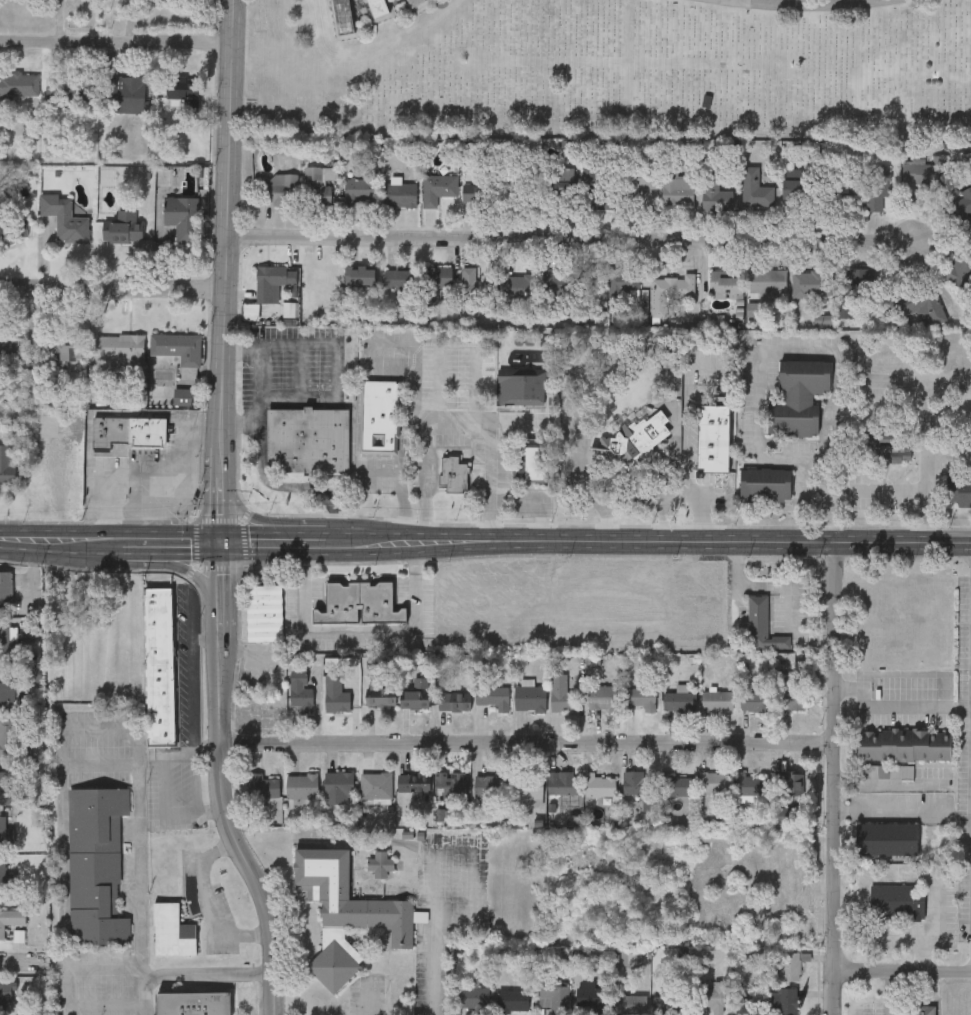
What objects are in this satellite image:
road: (735, 1)
building: (414, 2)
road: (807, 5)
building: (377, 8)
building: (344, 17)
road: (116, 40)
park: (617, 63)
building: (18, 84)
building: (58, 89)
building: (85, 89)
building: (124, 92)
building: (181, 97)
building: (924, 173)
building: (640, 178)
building: (561, 182)
building: (318, 185)
building: (513, 185)
building: (676, 186)
building: (876, 187)
building: (437, 188)
building: (281, 189)
building: (755, 189)
building: (360, 190)
building: (599, 190)
building: (797, 190)
building: (835, 191)
building: (479, 192)
building: (714, 193)
building: (400, 194)
building: (963, 202)
road: (227, 209)
building: (179, 215)
building: (62, 216)
building: (14, 226)
building: (124, 230)
road: (569, 236)
building: (961, 268)
building: (359, 276)
building: (436, 277)
building: (399, 278)
building: (858, 281)
building: (269, 282)
building: (558, 282)
building: (767, 282)
building: (477, 283)
building: (521, 283)
building: (812, 283)
building: (726, 285)
building: (620, 286)
road: (112, 287)
building: (669, 292)
building: (929, 305)
building: (118, 346)
building: (177, 346)
building: (61, 347)
building: (9, 351)
road: (262, 370)
building: (521, 388)
road: (358, 394)
building: (798, 397)
building: (379, 416)
road: (238, 421)
road: (426, 427)
building: (129, 430)
building: (641, 436)
road: (687, 436)
building: (713, 436)
road: (221, 437)
building: (307, 440)
road: (934, 451)
road: (774, 462)
building: (534, 463)
building: (5, 465)
road: (134, 468)
road: (221, 470)
building: (453, 474)
road: (489, 479)
road: (586, 483)
building: (765, 485)
road: (289, 486)
building: (959, 489)
road: (649, 499)
road: (222, 513)
road: (251, 514)
road: (307, 537)
road: (253, 538)
road: (369, 538)
traffic signals: (223, 539)
road: (419, 539)
road: (459, 539)
road: (53, 540)
road: (172, 540)
road: (729, 540)
road: (114, 541)
road: (176, 565)
road: (223, 571)
road: (783, 588)
building: (5, 590)
building: (359, 604)
building: (264, 612)
building: (615, 616)
building: (762, 625)
road: (357, 630)
road: (208, 638)
building: (8, 641)
building: (160, 664)
road: (192, 671)
road: (936, 675)
building: (7, 689)
building: (300, 691)
building: (787, 691)
building: (335, 694)
building: (414, 694)
building: (561, 695)
building: (379, 696)
building: (491, 696)
building: (640, 697)
building: (529, 698)
building: (603, 698)
building: (716, 700)
building: (453, 701)
building: (755, 701)
building: (679, 702)
road: (64, 730)
building: (8, 738)
building: (904, 744)
road: (524, 745)
road: (831, 777)
building: (4, 782)
building: (412, 782)
road: (164, 783)
building: (634, 783)
building: (713, 783)
building: (790, 783)
building: (450, 784)
building: (376, 785)
building: (489, 785)
building: (563, 785)
building: (598, 785)
building: (675, 785)
building: (263, 786)
building: (301, 786)
building: (525, 786)
building: (338, 787)
building: (750, 787)
road: (883, 811)
road: (222, 813)
building: (5, 831)
building: (886, 839)
building: (382, 864)
building: (97, 866)
building: (4, 872)
road: (917, 874)
road: (435, 880)
building: (896, 901)
road: (209, 906)
building: (345, 913)
building: (11, 918)
building: (173, 930)
road: (24, 962)
building: (789, 965)
road: (900, 969)
road: (207, 973)
road: (892, 992)
building: (6, 995)
building: (591, 995)
building: (473, 997)
building: (553, 997)
building: (712, 997)
road: (366, 1000)
building: (513, 1000)
building: (742, 1000)
building: (783, 1001)
building: (194, 1003)
building: (629, 1004)
building: (670, 1004)
road: (143, 1008)
building: (921, 1010)

